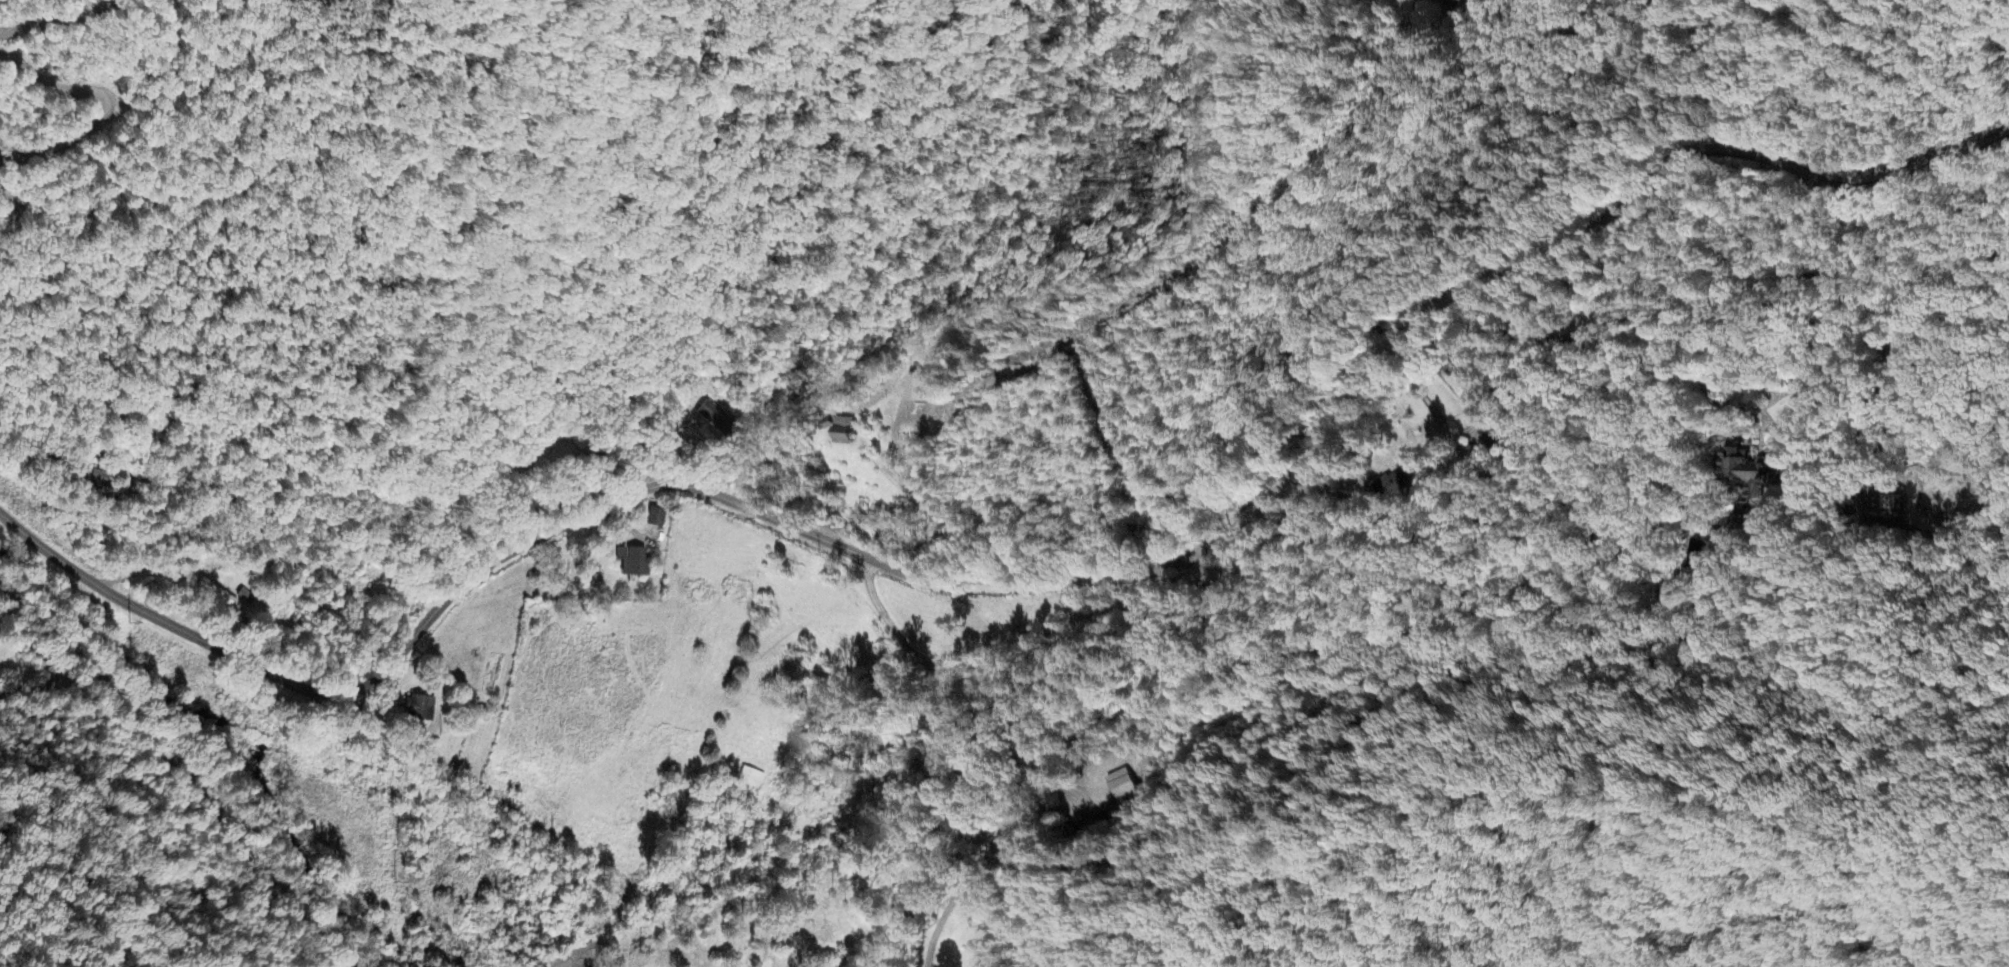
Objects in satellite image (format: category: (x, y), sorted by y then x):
building: (1451, 5)
road: (1571, 157)
road: (1427, 311)
building: (710, 416)
building: (843, 433)
building: (1748, 475)
building: (98, 480)
building: (1391, 489)
building: (655, 520)
building: (631, 563)
building: (216, 597)
road: (430, 601)
road: (50, 665)
building: (419, 709)
road: (177, 762)
building: (751, 780)

